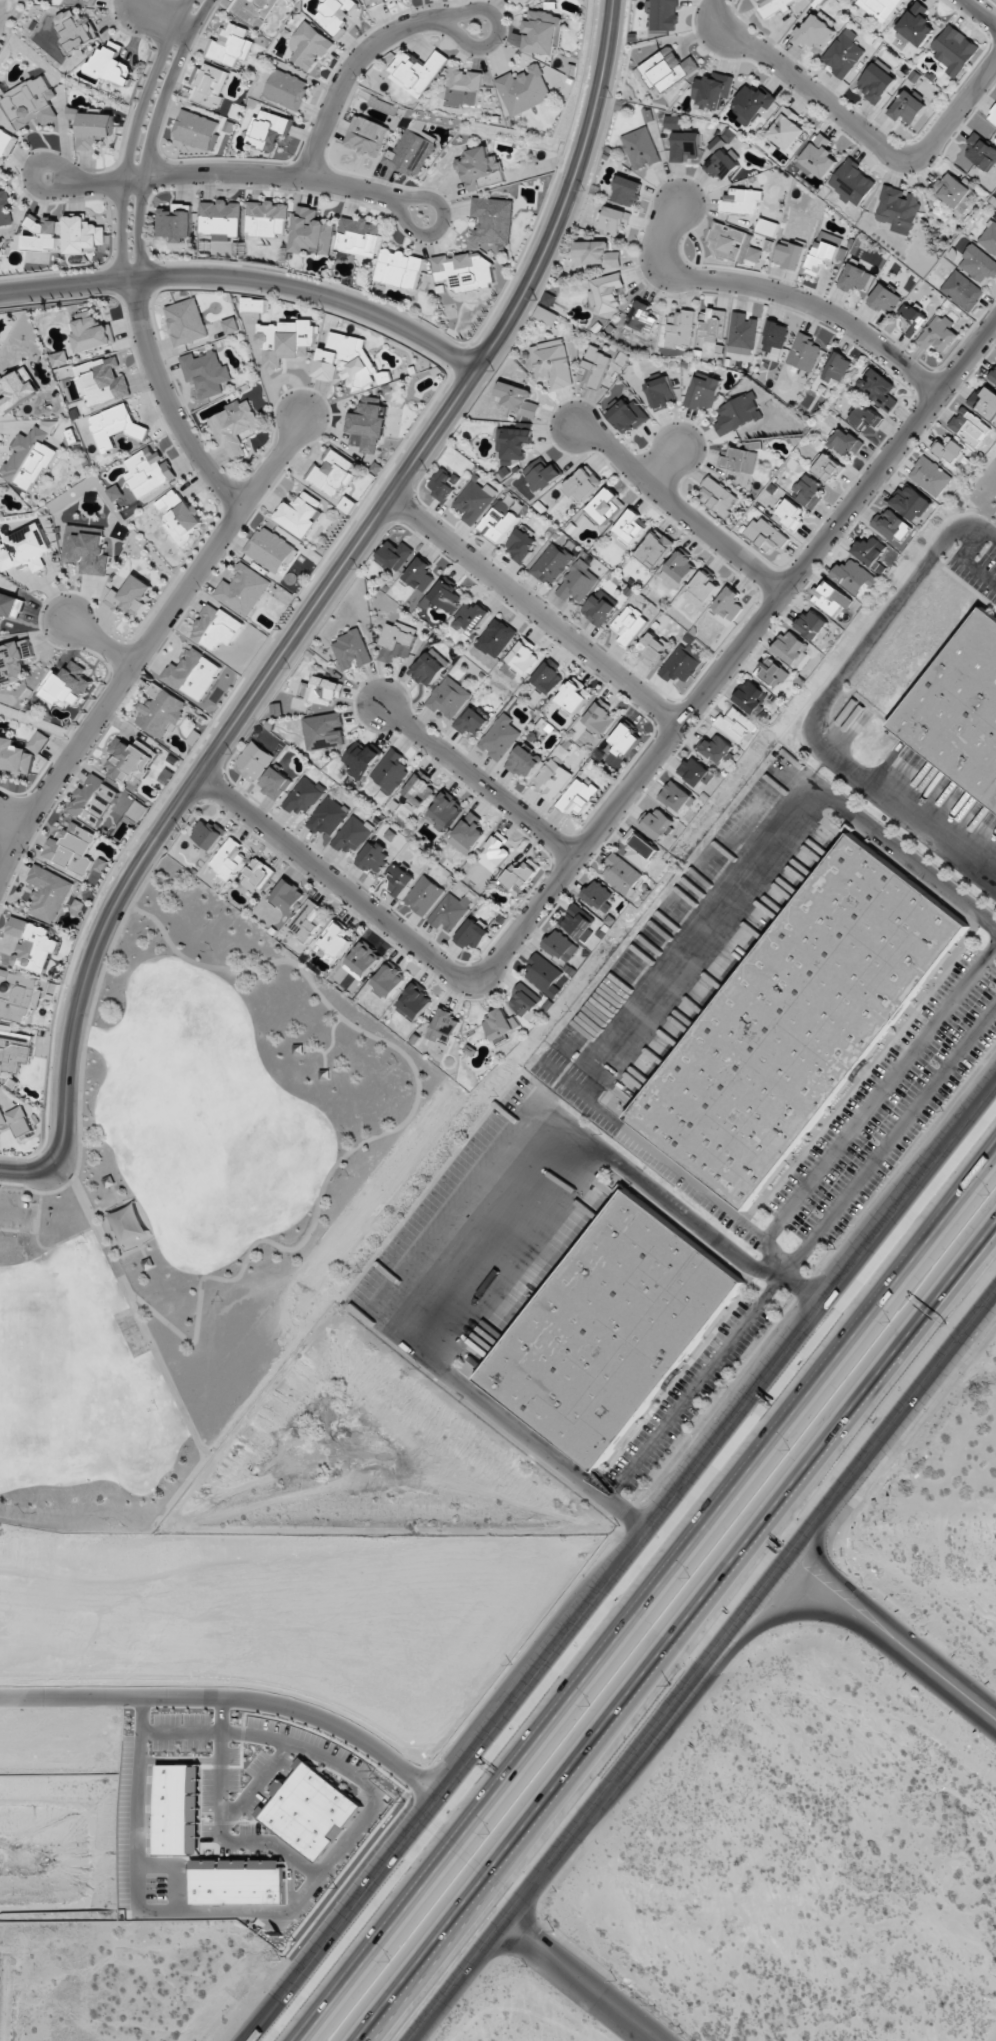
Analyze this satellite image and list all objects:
building: (89, 0)
building: (523, 2)
building: (374, 3)
building: (773, 6)
building: (879, 8)
building: (254, 11)
road: (980, 12)
building: (335, 13)
building: (663, 14)
road: (164, 21)
building: (916, 24)
building: (76, 30)
building: (542, 32)
building: (814, 32)
building: (230, 45)
building: (309, 45)
building: (954, 50)
building: (843, 53)
road: (358, 59)
building: (113, 64)
building: (667, 68)
building: (416, 72)
building: (875, 82)
building: (208, 85)
building: (463, 86)
building: (286, 89)
road: (800, 89)
building: (524, 90)
building: (712, 91)
building: (752, 104)
building: (383, 105)
building: (907, 107)
building: (993, 115)
road: (957, 116)
building: (672, 121)
building: (94, 129)
building: (196, 129)
building: (268, 129)
building: (786, 129)
road: (151, 135)
road: (133, 136)
building: (366, 136)
building: (5, 141)
building: (685, 146)
building: (640, 148)
building: (411, 149)
building: (981, 153)
building: (819, 156)
building: (722, 165)
building: (479, 168)
road: (235, 173)
building: (852, 182)
building: (626, 191)
building: (953, 191)
building: (741, 200)
building: (5, 209)
building: (897, 209)
building: (220, 217)
building: (267, 218)
building: (492, 220)
building: (615, 220)
building: (768, 227)
building: (311, 232)
building: (42, 234)
building: (83, 235)
building: (359, 237)
building: (989, 237)
building: (733, 244)
building: (595, 254)
building: (790, 255)
building: (822, 257)
building: (978, 264)
building: (399, 269)
building: (464, 271)
road: (245, 281)
building: (962, 290)
building: (605, 294)
road: (776, 295)
building: (548, 299)
building: (883, 299)
building: (253, 305)
building: (546, 315)
building: (642, 317)
building: (913, 318)
building: (186, 321)
building: (711, 324)
building: (231, 325)
building: (680, 328)
building: (92, 333)
building: (742, 333)
building: (938, 334)
building: (775, 336)
building: (285, 341)
building: (804, 352)
building: (348, 362)
building: (552, 363)
building: (63, 365)
building: (594, 366)
building: (837, 367)
building: (206, 372)
building: (993, 376)
building: (103, 381)
building: (19, 389)
building: (879, 389)
building: (661, 393)
building: (703, 393)
building: (517, 399)
building: (984, 402)
road: (166, 407)
building: (737, 414)
building: (628, 416)
building: (864, 416)
building: (367, 425)
building: (115, 426)
building: (234, 426)
building: (970, 427)
building: (845, 441)
building: (513, 443)
building: (950, 449)
building: (29, 458)
building: (739, 460)
road: (662, 465)
building: (828, 468)
building: (148, 471)
building: (331, 473)
building: (541, 474)
building: (930, 476)
building: (443, 484)
building: (583, 485)
building: (808, 490)
building: (114, 493)
building: (717, 497)
building: (474, 501)
building: (911, 502)
building: (605, 506)
road: (677, 509)
building: (300, 513)
building: (789, 513)
building: (180, 515)
building: (498, 522)
building: (891, 525)
building: (630, 526)
building: (765, 535)
building: (520, 545)
building: (86, 548)
building: (655, 548)
building: (25, 549)
building: (271, 550)
building: (870, 550)
building: (395, 555)
building: (552, 563)
building: (678, 569)
building: (420, 574)
building: (854, 576)
building: (577, 582)
building: (703, 588)
building: (243, 590)
building: (131, 595)
building: (446, 595)
building: (831, 598)
building: (728, 603)
building: (10, 605)
road: (316, 607)
building: (599, 608)
road: (533, 612)
building: (471, 618)
building: (629, 624)
building: (813, 625)
building: (216, 627)
building: (496, 638)
building: (396, 641)
road: (148, 642)
road: (97, 644)
building: (651, 648)
building: (791, 648)
building: (351, 650)
building: (520, 659)
building: (16, 661)
building: (682, 663)
building: (429, 668)
building: (772, 672)
building: (192, 674)
building: (548, 678)
building: (70, 685)
building: (322, 690)
building: (751, 696)
building: (448, 697)
building: (573, 697)
building: (958, 707)
road: (819, 708)
building: (160, 711)
building: (599, 716)
building: (471, 721)
building: (737, 726)
building: (324, 731)
building: (499, 737)
building: (625, 740)
building: (717, 749)
building: (21, 752)
building: (360, 759)
building: (254, 761)
building: (524, 761)
building: (390, 770)
building: (695, 772)
building: (552, 778)
road: (474, 781)
building: (275, 782)
road: (628, 786)
building: (419, 790)
building: (305, 796)
building: (577, 797)
building: (94, 800)
building: (137, 811)
building: (444, 811)
building: (328, 816)
building: (657, 822)
road: (8, 825)
building: (208, 834)
building: (468, 834)
building: (352, 835)
building: (72, 848)
building: (640, 849)
building: (494, 853)
building: (373, 857)
building: (229, 858)
road: (913, 860)
building: (621, 874)
building: (256, 875)
building: (520, 876)
building: (400, 879)
building: (48, 893)
building: (287, 895)
building: (424, 895)
building: (598, 896)
building: (449, 912)
building: (307, 921)
building: (578, 923)
building: (471, 934)
building: (333, 942)
building: (32, 944)
building: (560, 946)
building: (362, 960)
building: (544, 975)
building: (388, 980)
building: (16, 994)
building: (525, 1000)
building: (414, 1003)
road: (89, 1015)
building: (799, 1020)
building: (499, 1024)
building: (444, 1026)
road: (332, 1035)
road: (322, 1051)
road: (879, 1094)
building: (2, 1118)
building: (20, 1120)
road: (391, 1130)
road: (703, 1197)
park: (193, 1205)
road: (676, 1207)
road: (15, 1209)
parking lot: (15, 1210)
road: (18, 1230)
road: (923, 1237)
road: (42, 1247)
road: (800, 1253)
road: (797, 1285)
road: (946, 1297)
building: (612, 1329)
road: (159, 1362)
road: (539, 1447)
road: (620, 1563)
road: (838, 1574)
road: (820, 1591)
road: (653, 1600)
road: (796, 1612)
road: (682, 1631)
road: (934, 1657)
road: (705, 1667)
road: (924, 1677)
road: (207, 1696)
road: (426, 1773)
road: (415, 1784)
building: (180, 1810)
building: (309, 1810)
road: (520, 1859)
building: (240, 1881)
road: (581, 1980)

